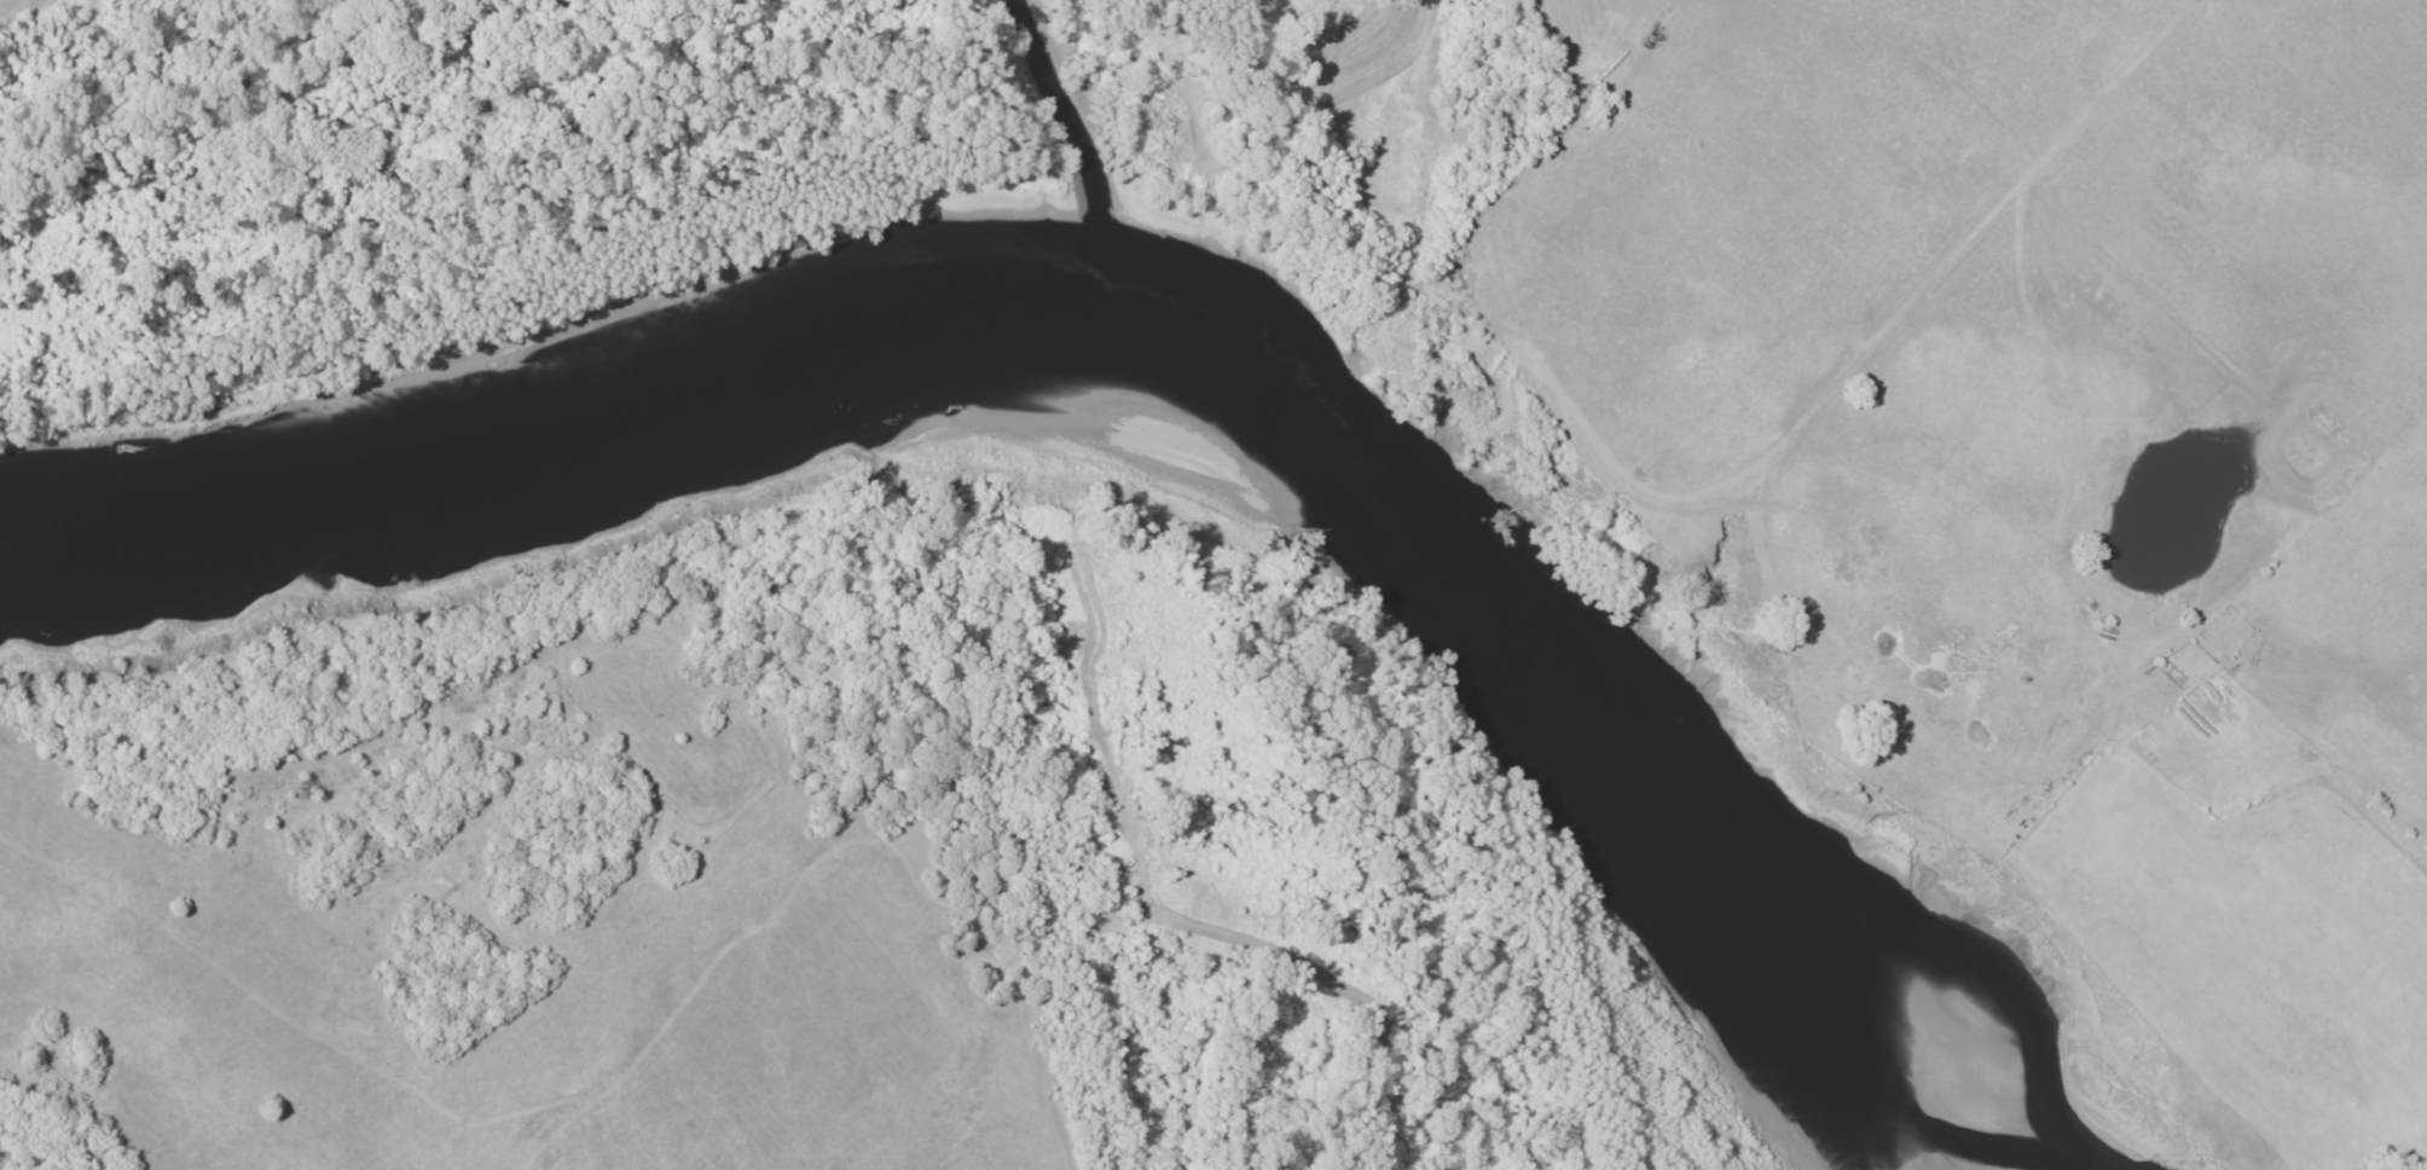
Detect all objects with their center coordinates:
river: (1085, 197)
river: (1141, 355)

